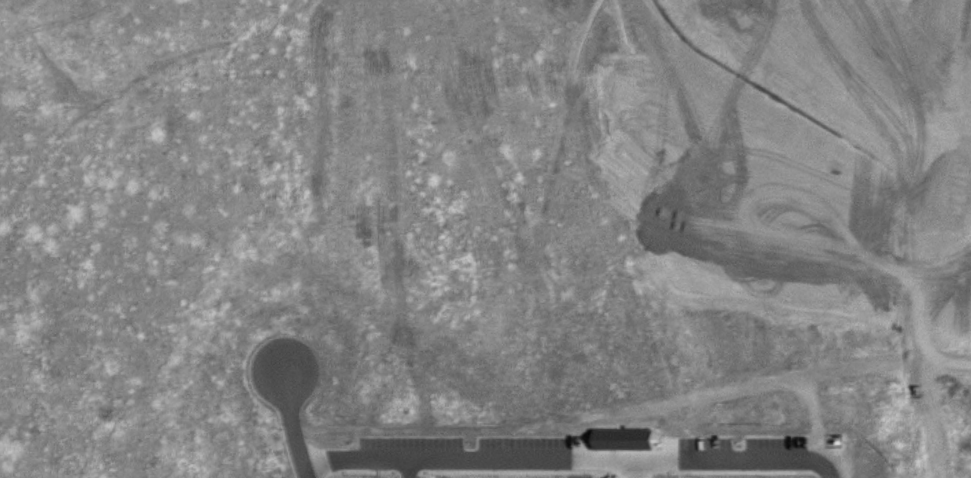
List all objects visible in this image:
road: (291, 423)
road: (570, 459)
road: (406, 468)

